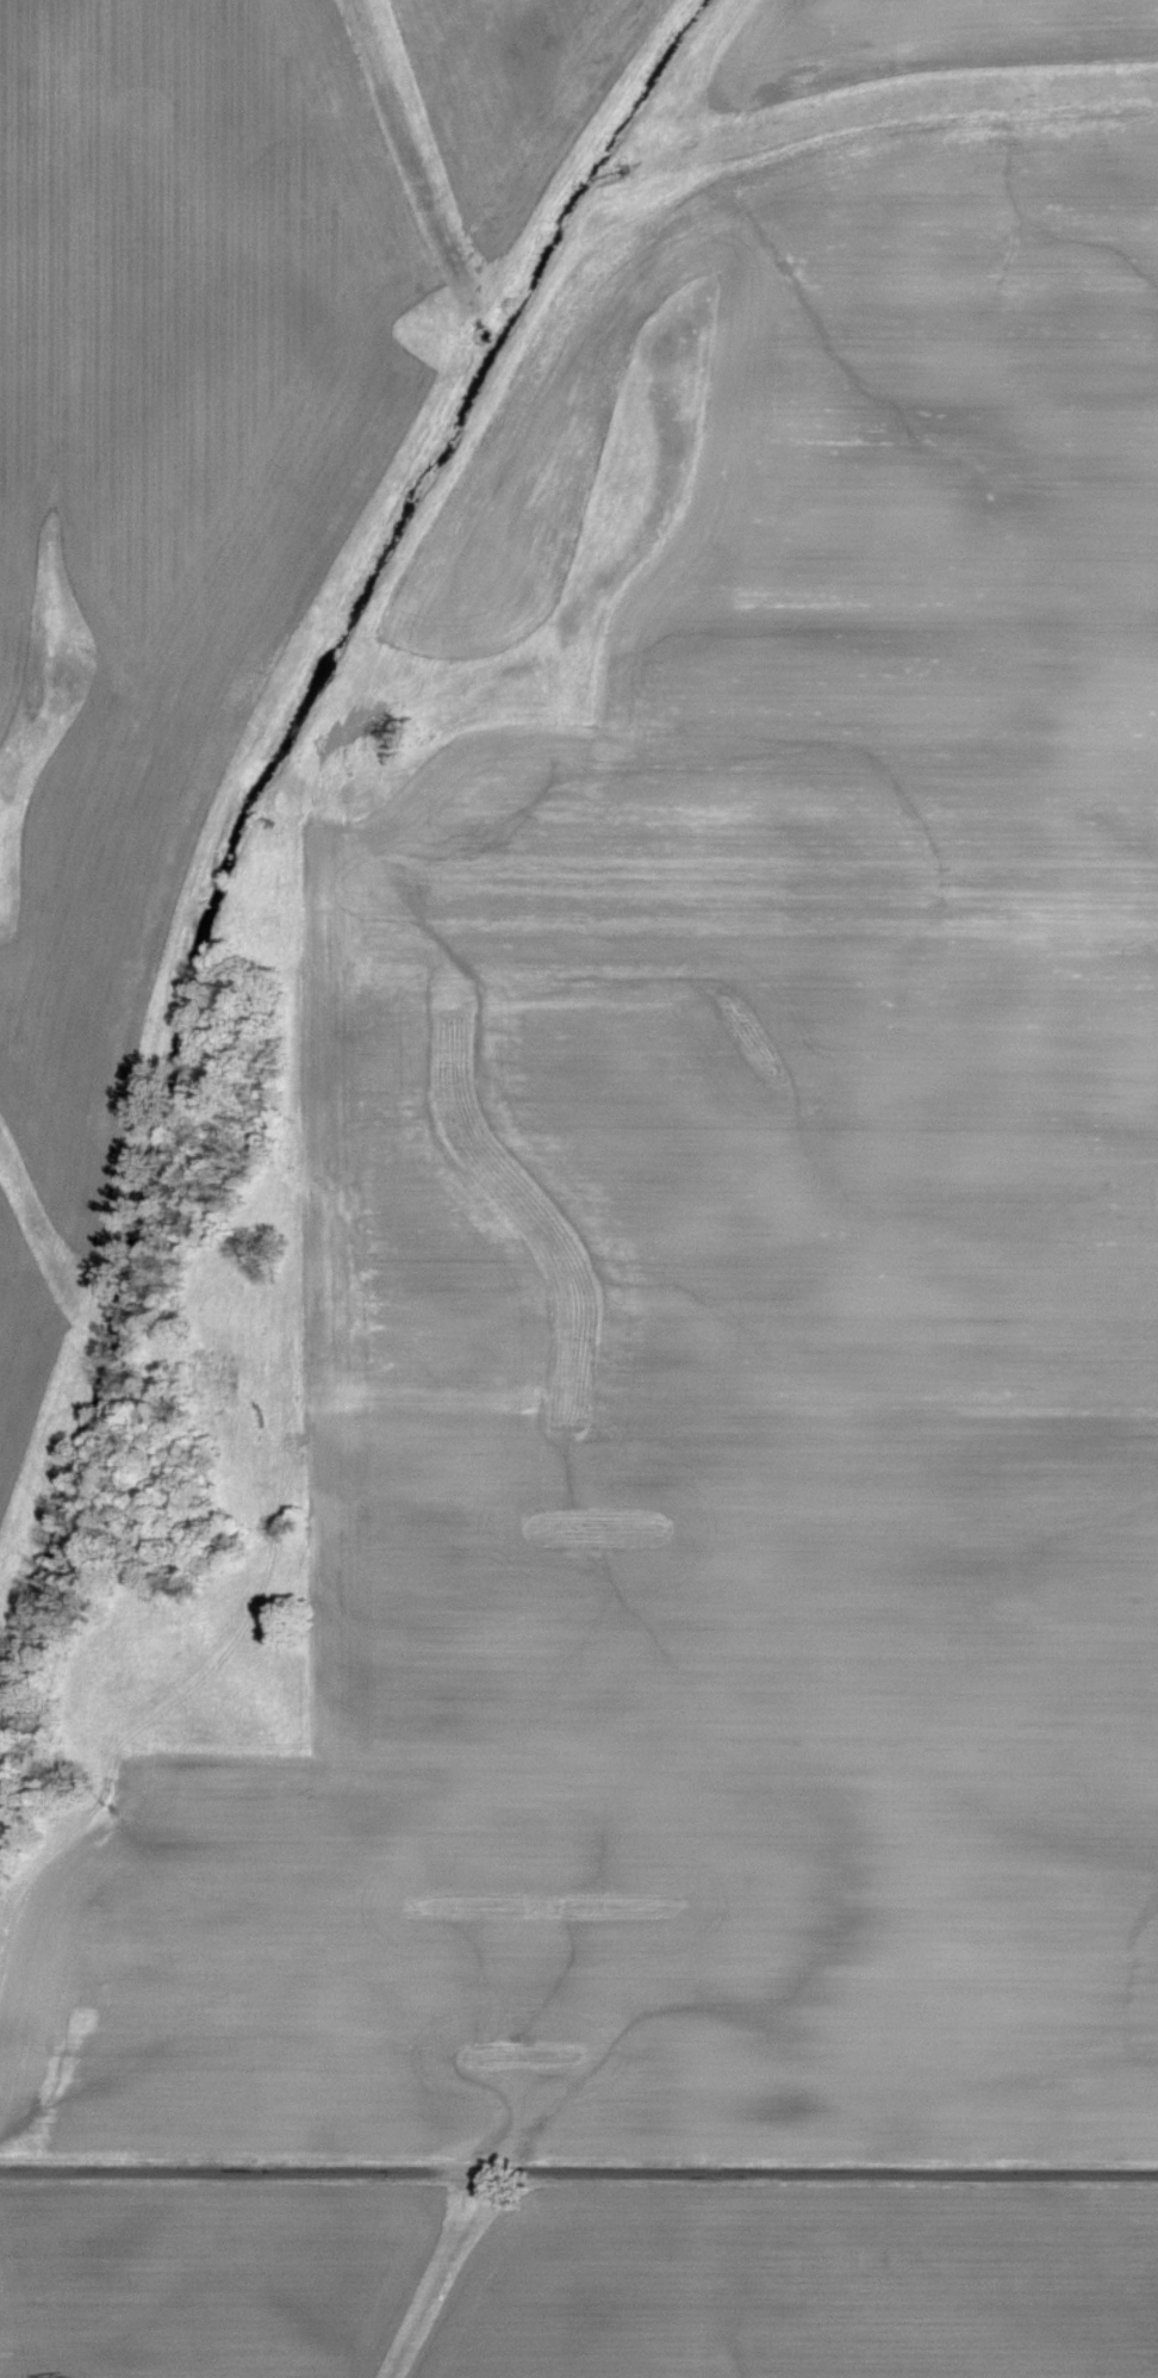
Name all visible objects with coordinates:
road: (579, 2169)
power tower: (67, 2377)

